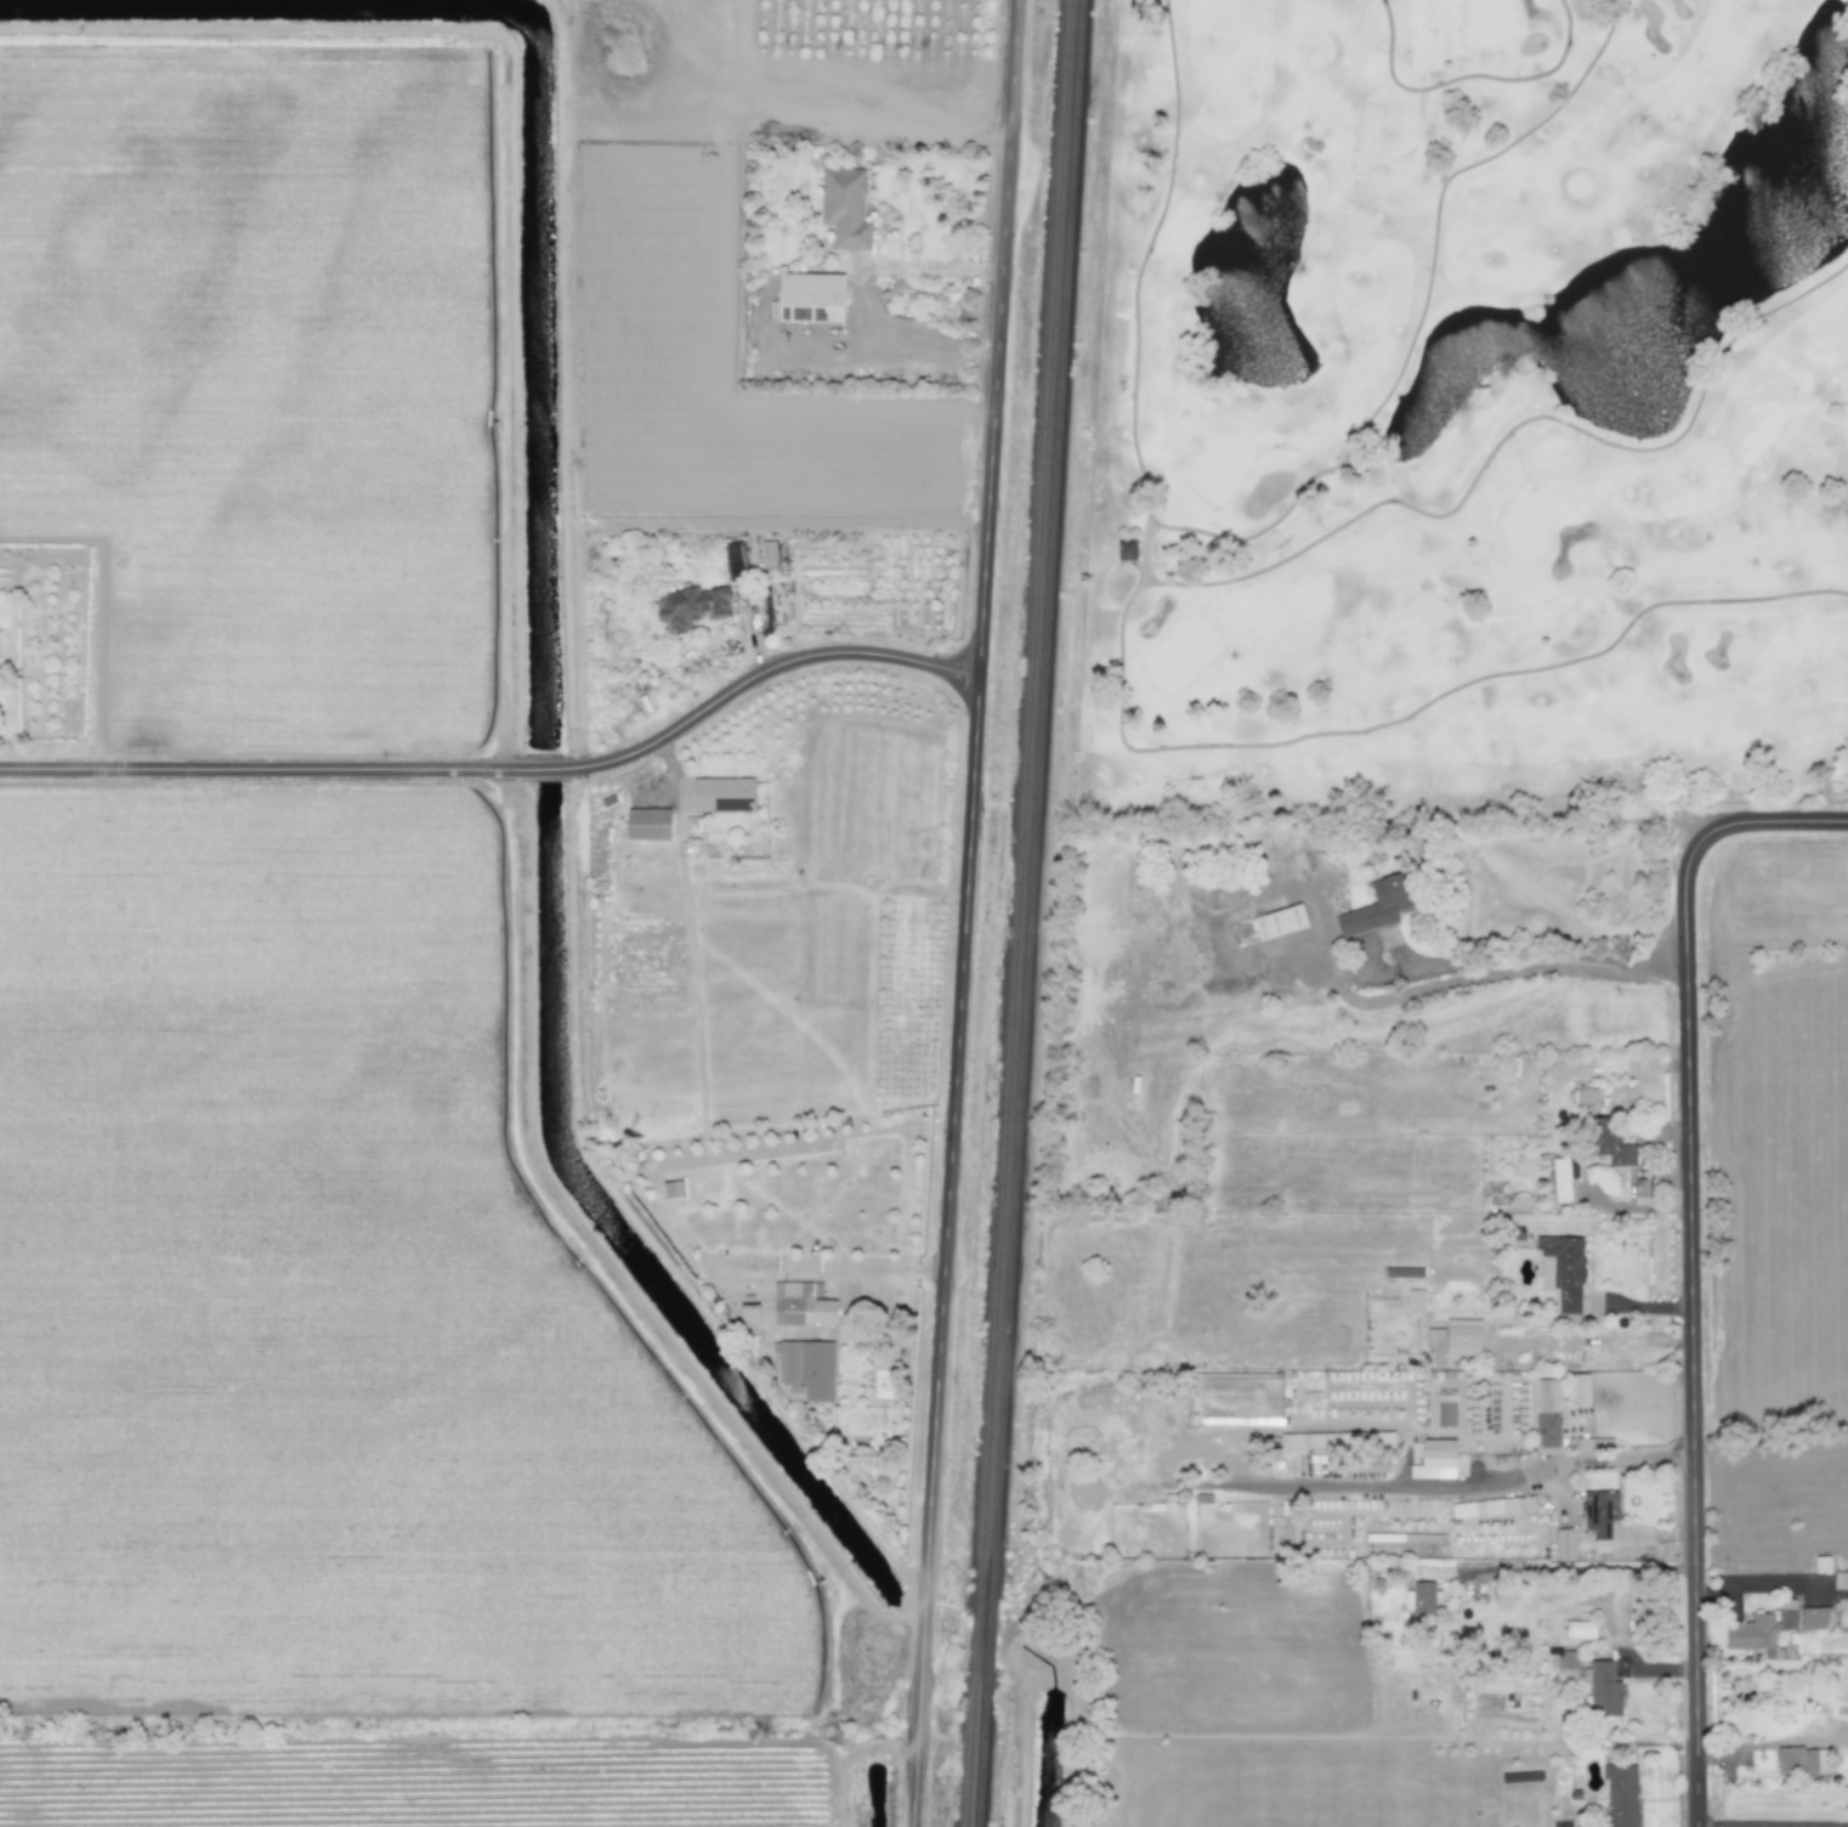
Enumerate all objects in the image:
building: (845, 208)
road: (925, 267)
building: (810, 298)
road: (875, 352)
road: (985, 355)
park: (1464, 425)
building: (1126, 550)
building: (733, 555)
building: (691, 607)
road: (506, 770)
building: (722, 794)
railway: (1024, 799)
railway: (1039, 799)
road: (1795, 821)
building: (647, 824)
building: (1377, 907)
road: (970, 913)
building: (1280, 922)
road: (1475, 963)
building: (1586, 1096)
building: (1611, 1148)
building: (1560, 1177)
building: (671, 1189)
building: (1561, 1271)
building: (1415, 1300)
building: (801, 1305)
road: (1693, 1308)
building: (749, 1317)
building: (1463, 1336)
building: (805, 1369)
building: (1578, 1390)
building: (1445, 1408)
building: (1547, 1415)
building: (1336, 1441)
building: (1594, 1444)
building: (1439, 1460)
road: (1445, 1488)
building: (1495, 1506)
building: (1599, 1512)
road: (1570, 1518)
road: (1684, 1538)
road: (1643, 1540)
building: (1378, 1543)
building: (1564, 1544)
building: (1823, 1565)
road: (1580, 1569)
building: (1840, 1580)
building: (1419, 1597)
building: (1787, 1616)
building: (1813, 1618)
building: (1580, 1629)
railway: (992, 1634)
building: (1755, 1634)
railway: (982, 1635)
building: (1565, 1659)
building: (1604, 1685)
railway: (976, 1748)
railway: (986, 1748)
building: (1797, 1761)
building: (1621, 1795)
road: (1773, 1823)

